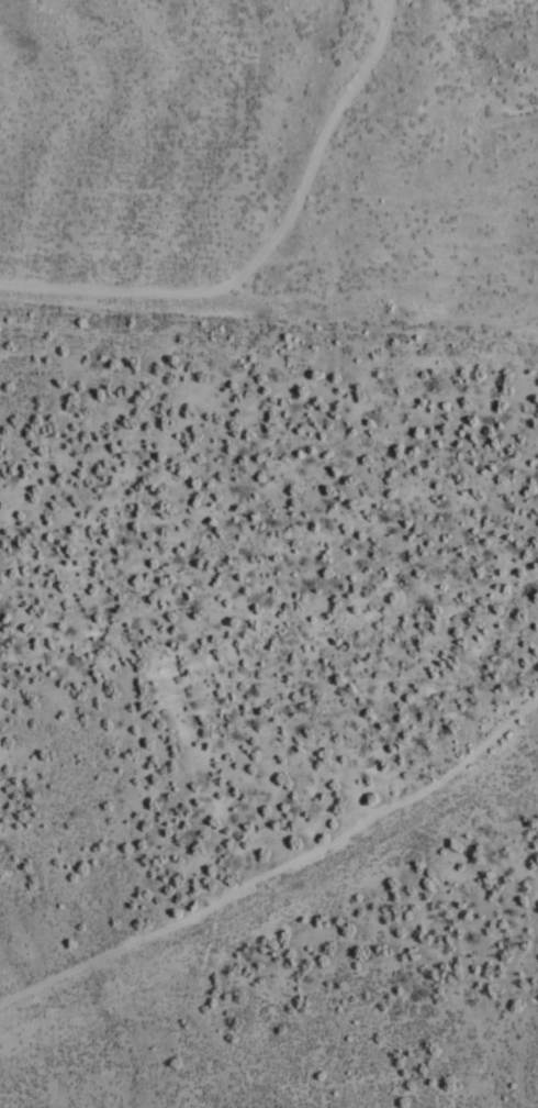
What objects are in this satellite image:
road: (16, 7)
road: (269, 398)

